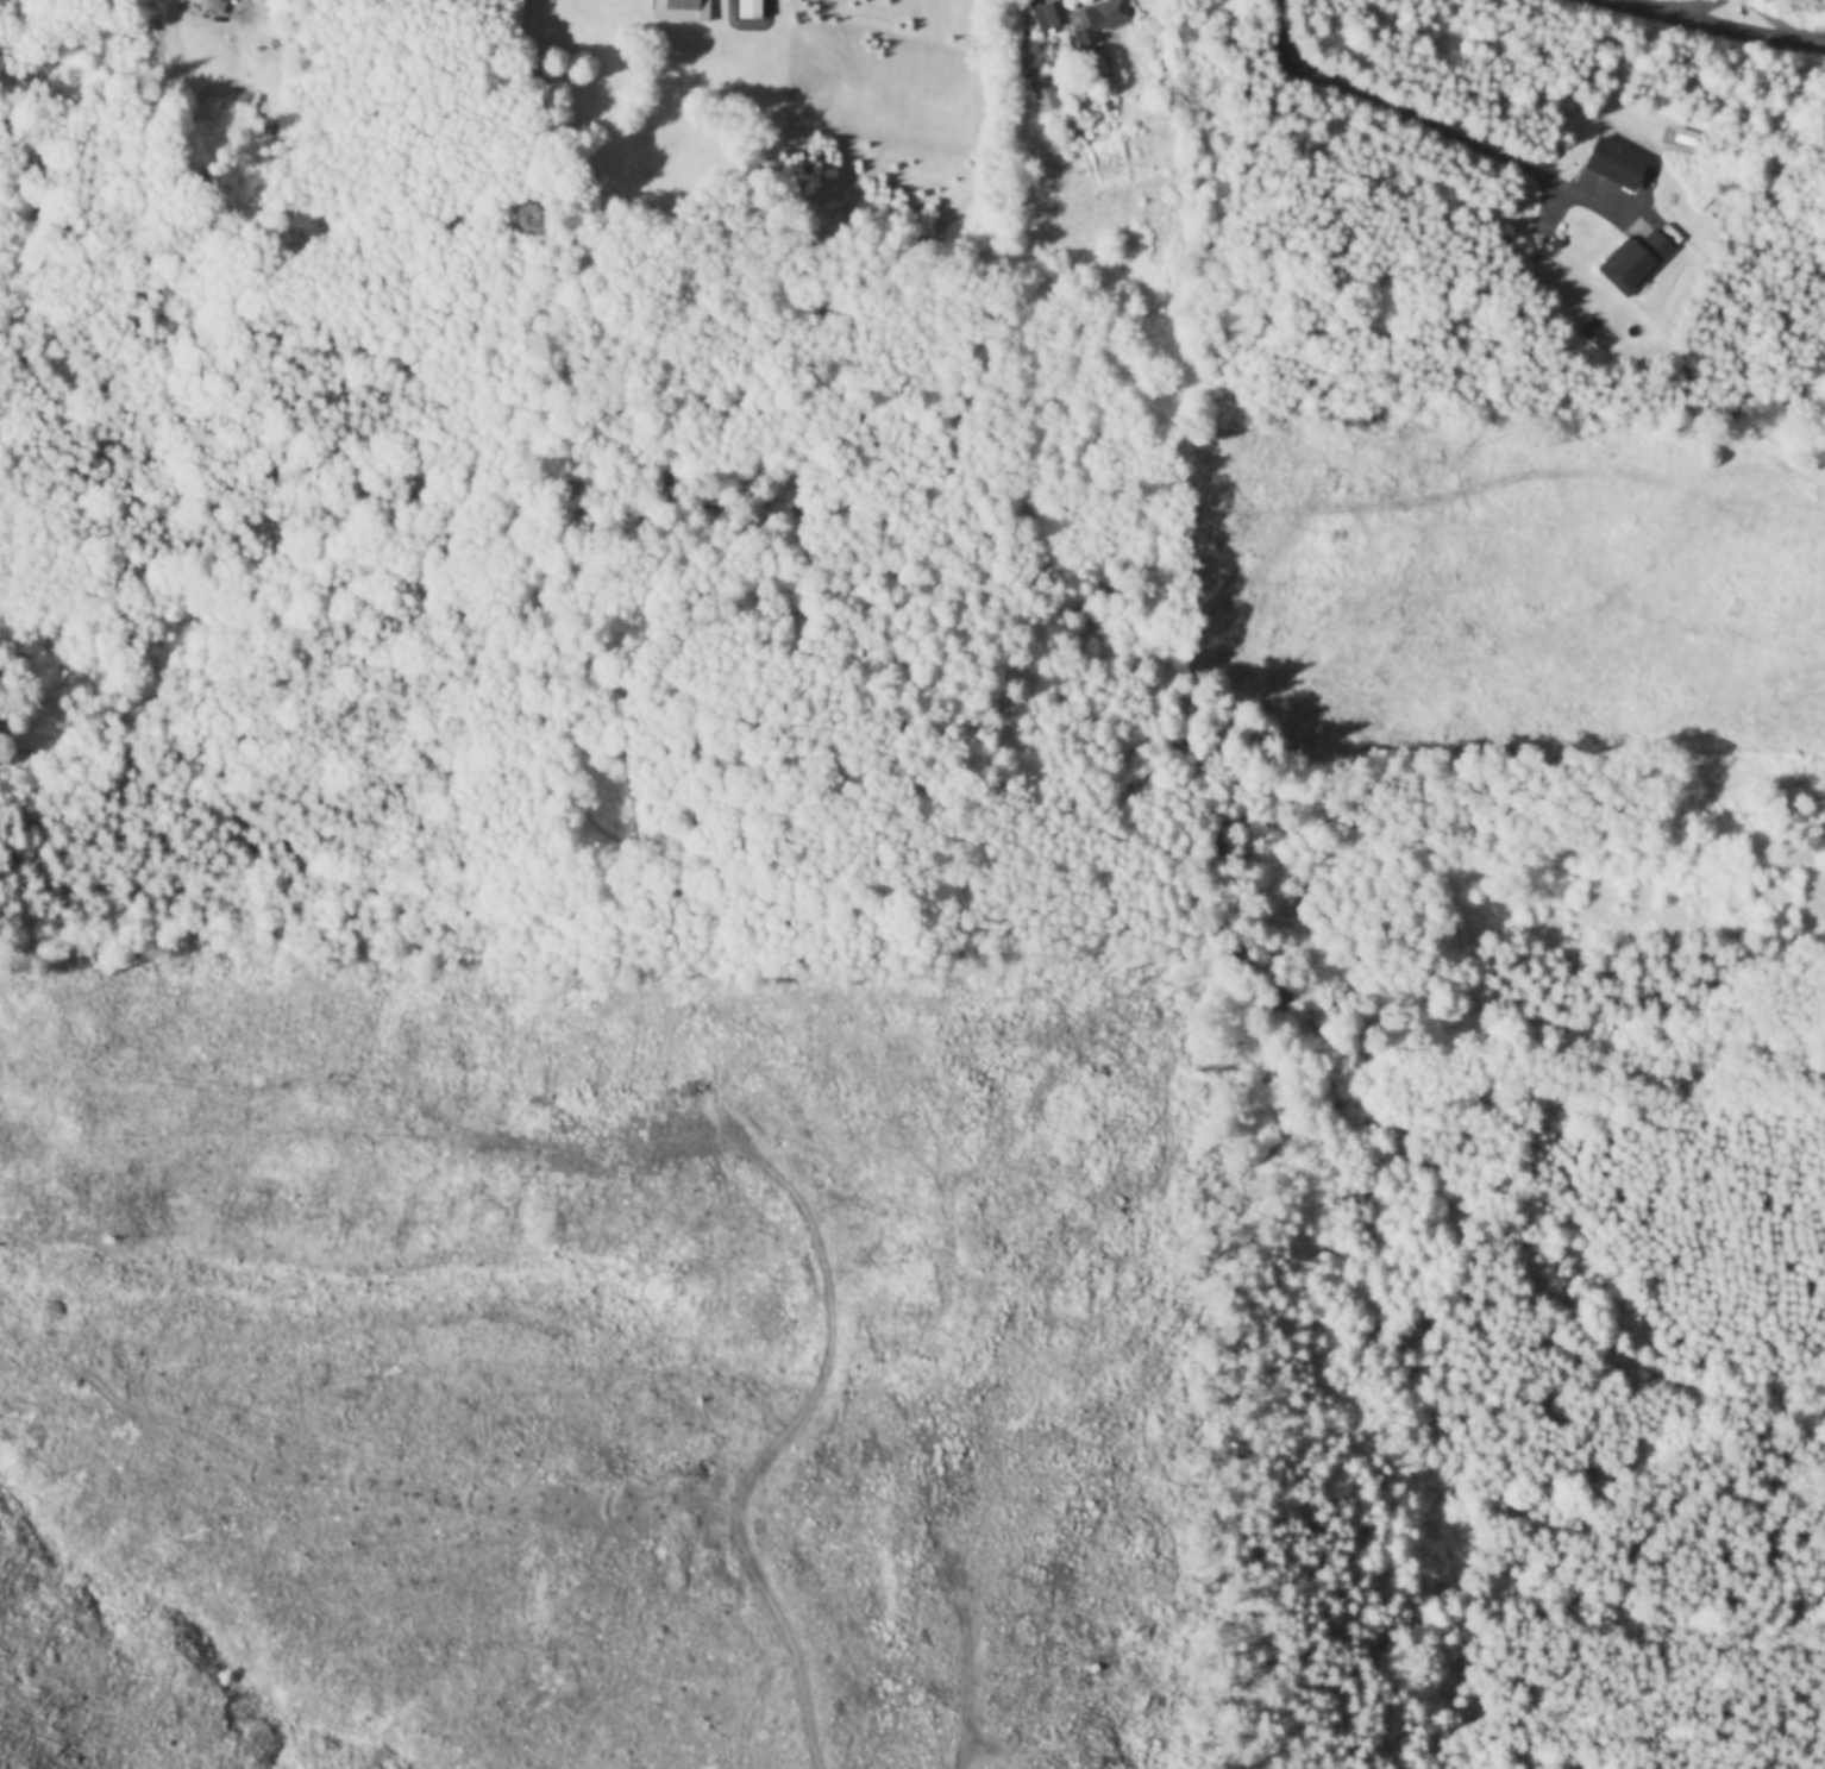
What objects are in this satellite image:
building: (208, 5)
building: (684, 8)
building: (1083, 18)
road: (1738, 20)
building: (1095, 65)
building: (1045, 94)
building: (1616, 164)
building: (1637, 262)

